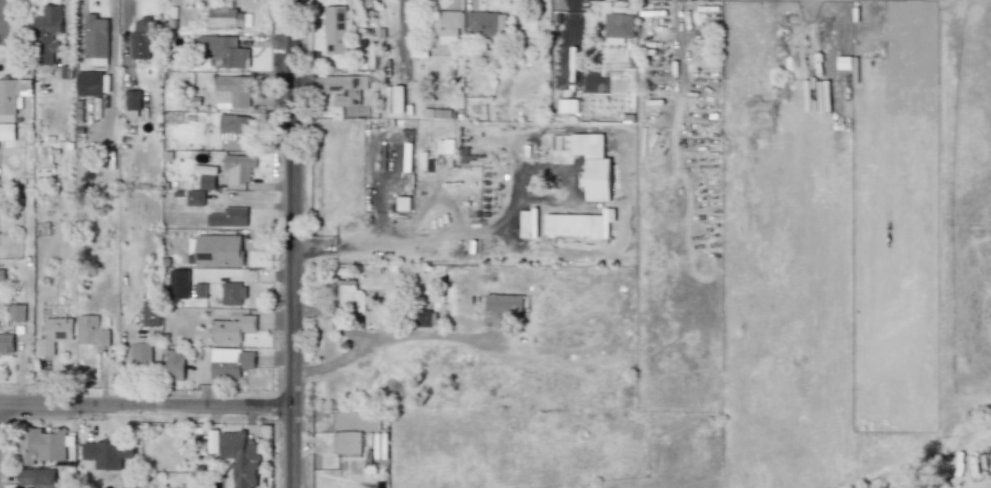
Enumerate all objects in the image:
road: (113, 9)
building: (225, 17)
building: (485, 23)
building: (618, 24)
building: (443, 26)
building: (336, 29)
building: (48, 33)
building: (141, 39)
building: (220, 50)
road: (113, 75)
building: (89, 83)
building: (345, 88)
building: (231, 91)
building: (10, 97)
building: (398, 98)
building: (132, 103)
building: (568, 105)
building: (232, 127)
building: (7, 131)
building: (593, 164)
building: (238, 167)
building: (206, 181)
building: (188, 197)
building: (402, 203)
building: (228, 216)
building: (528, 223)
building: (578, 224)
road: (395, 242)
road: (291, 244)
building: (218, 250)
building: (178, 283)
building: (199, 290)
building: (232, 293)
building: (348, 294)
building: (501, 307)
building: (16, 312)
building: (150, 313)
building: (425, 318)
building: (232, 328)
building: (90, 330)
building: (54, 334)
road: (359, 339)
building: (6, 342)
building: (141, 351)
building: (230, 362)
building: (174, 364)
road: (145, 404)
building: (346, 441)
building: (41, 444)
building: (107, 452)
building: (240, 457)
building: (36, 478)

